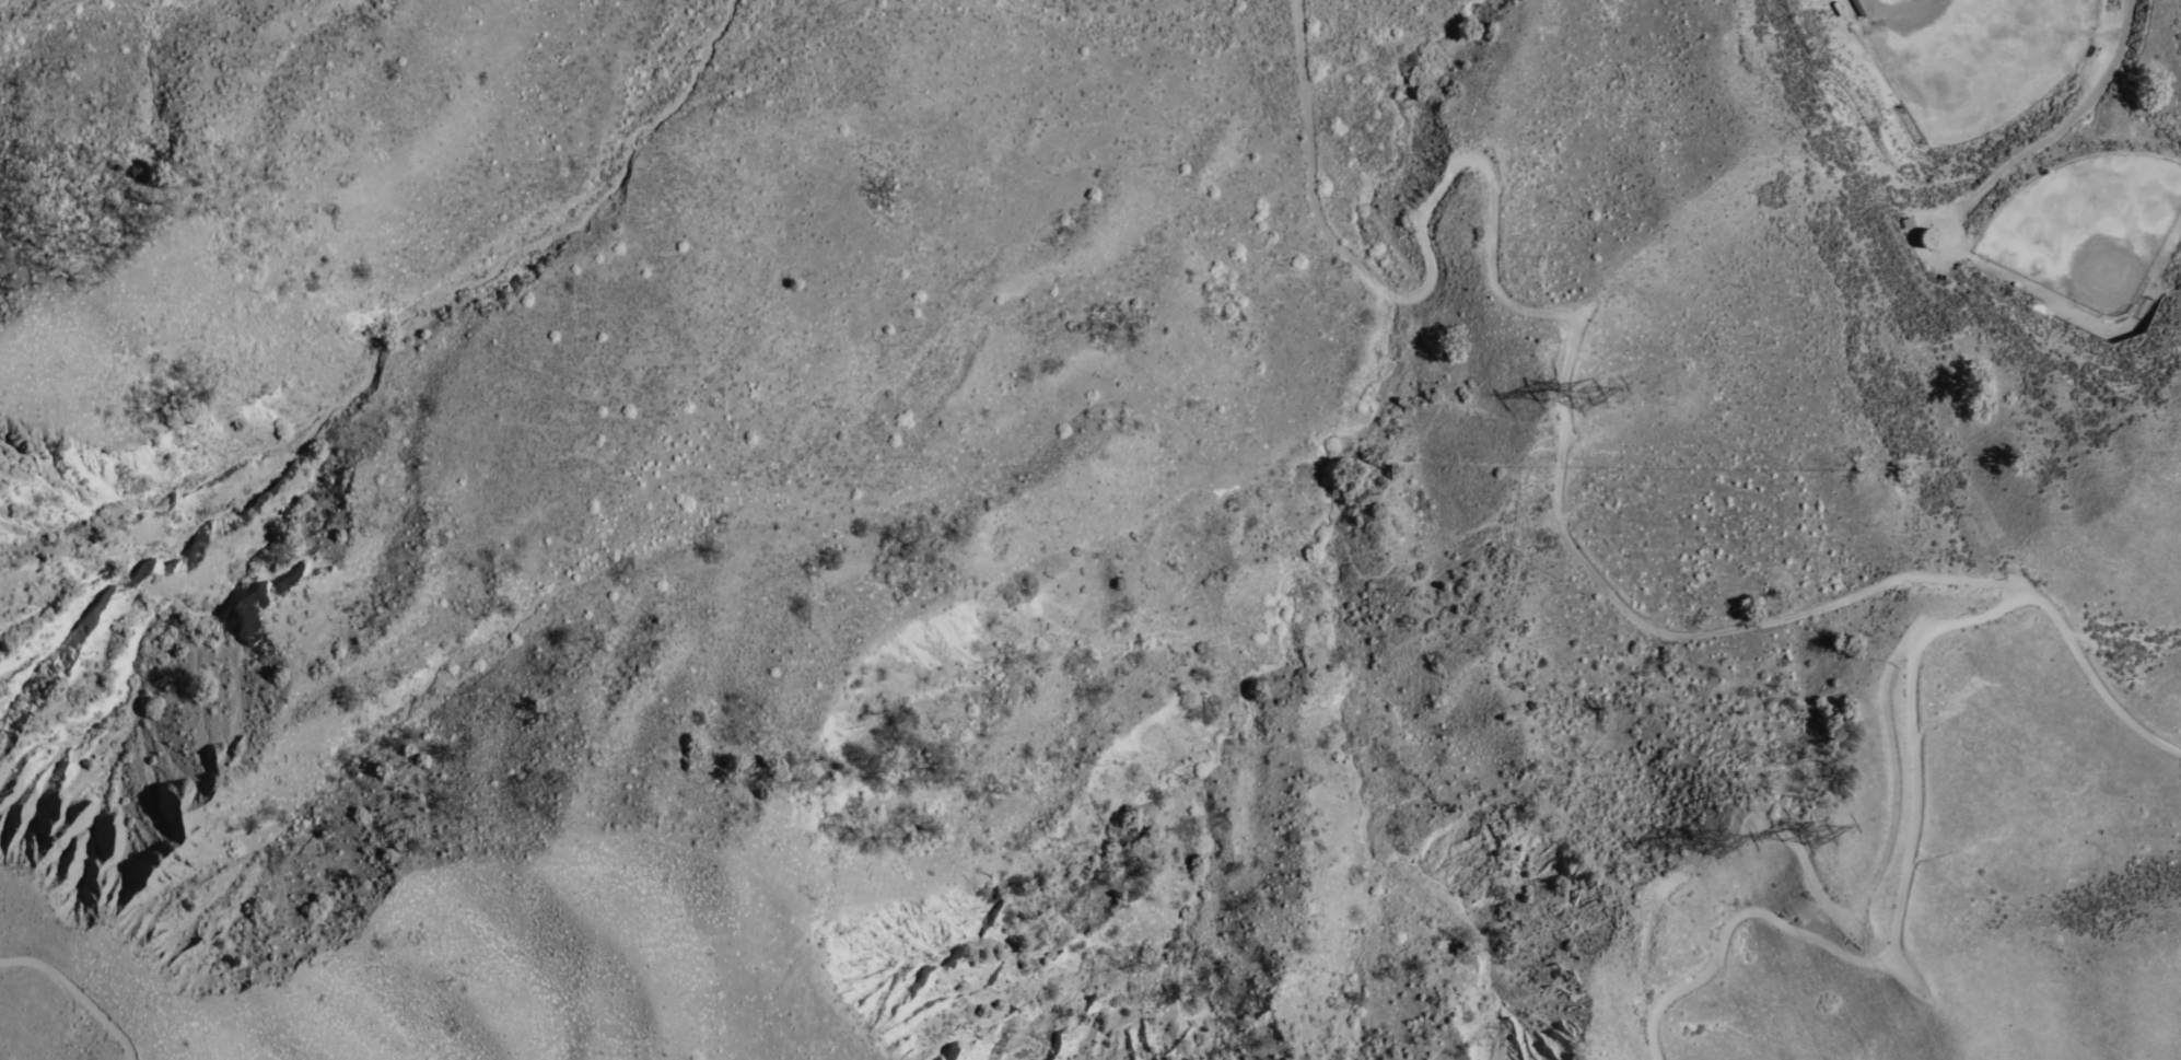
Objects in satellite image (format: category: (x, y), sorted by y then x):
park: (1978, 57)
road: (2066, 129)
road: (1450, 207)
power tower: (1578, 392)
road: (1752, 630)
road: (2108, 657)
power tower: (1809, 843)
power tower: (1711, 848)
road: (1906, 906)
road: (75, 994)

